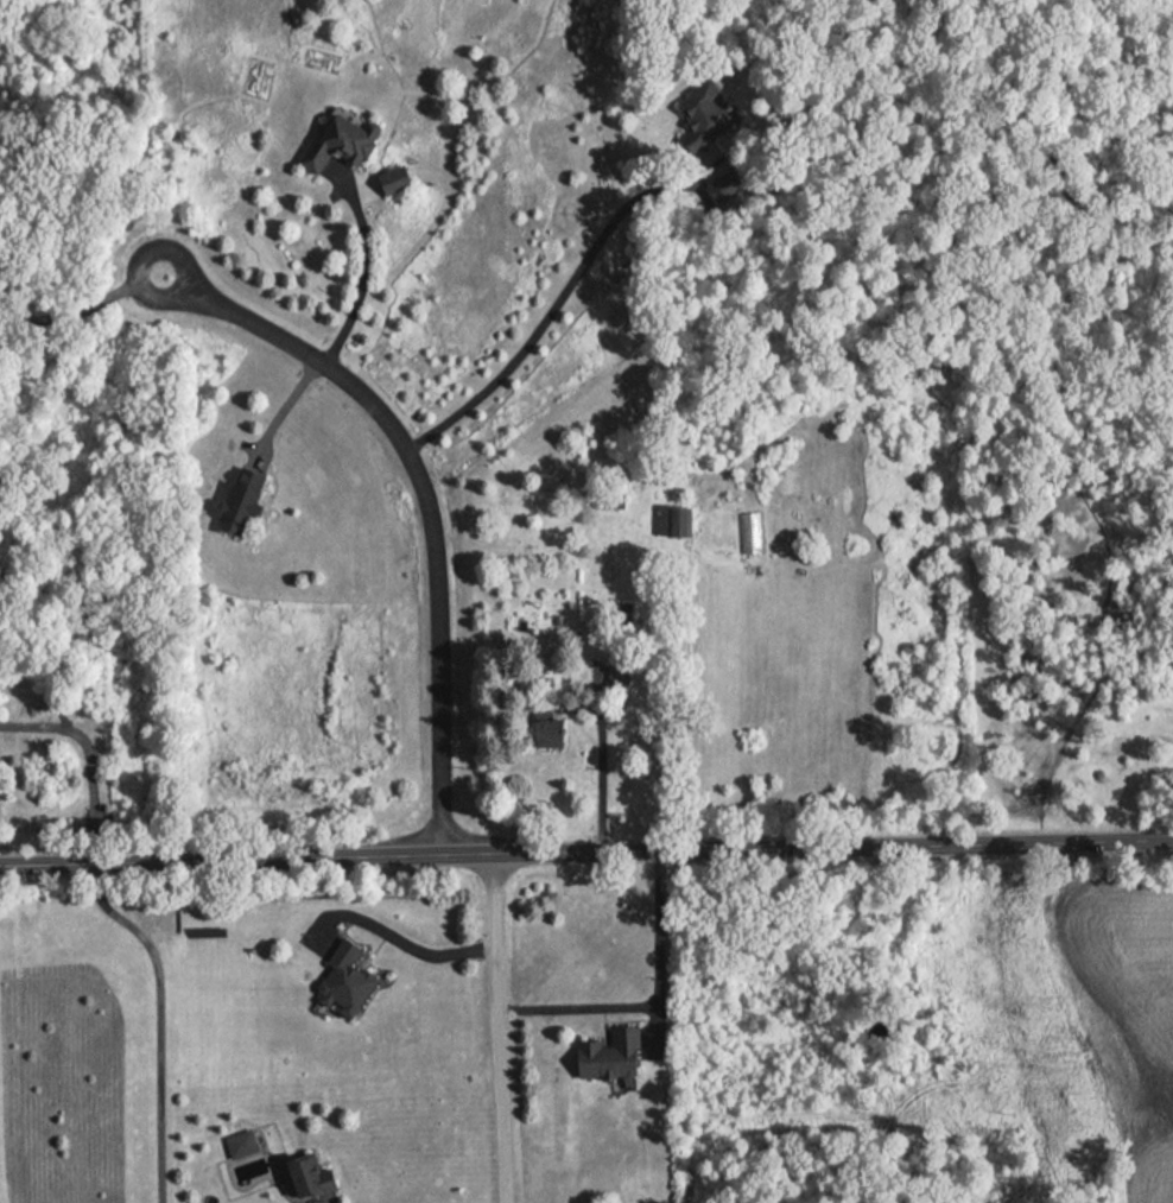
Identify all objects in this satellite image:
building: (706, 99)
building: (349, 139)
road: (367, 268)
road: (550, 311)
road: (84, 312)
road: (284, 417)
building: (251, 493)
road: (429, 499)
building: (685, 521)
building: (620, 671)
building: (556, 733)
road: (601, 775)
road: (585, 853)
road: (401, 939)
building: (351, 981)
road: (651, 1000)
road: (163, 1017)
road: (502, 1028)
building: (615, 1056)
building: (321, 1177)

